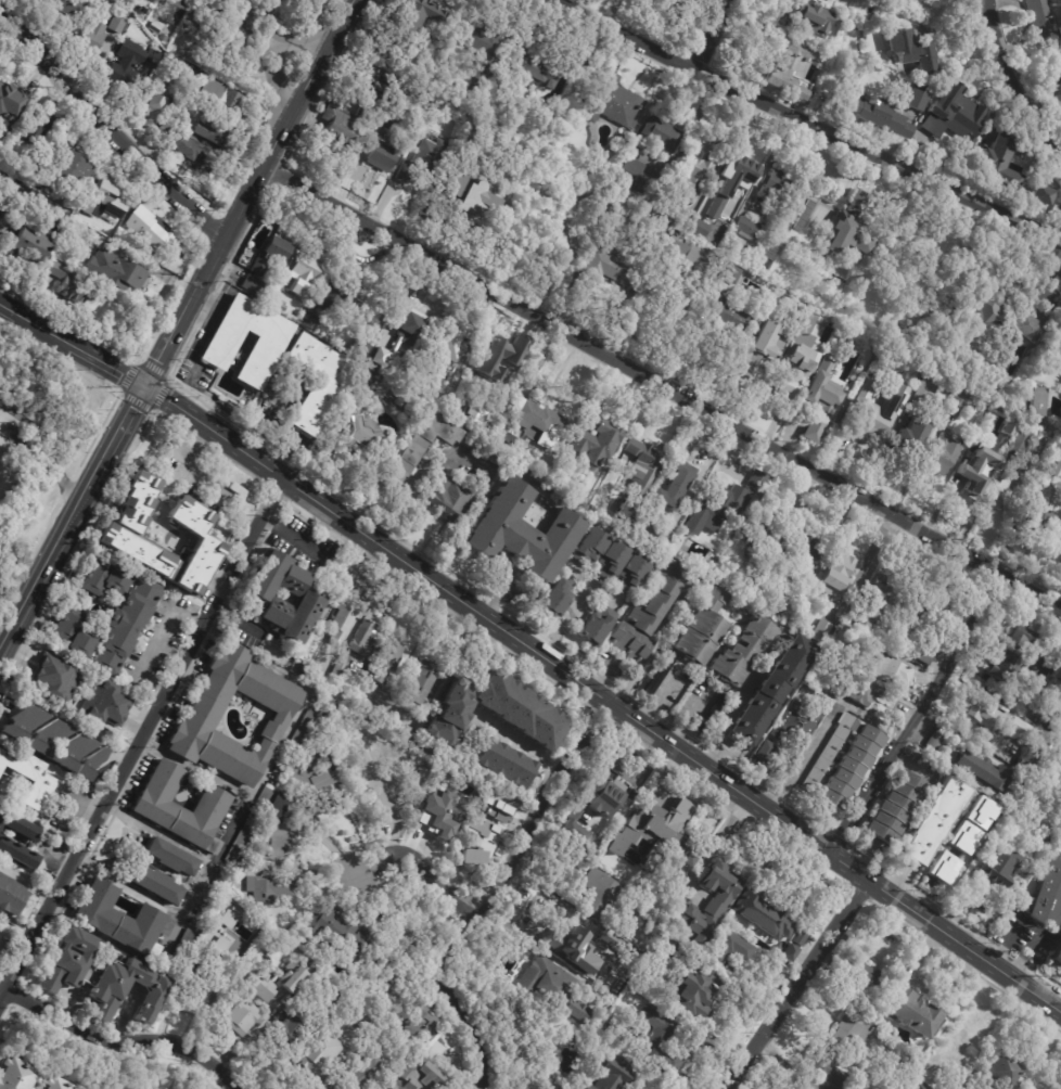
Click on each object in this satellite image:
building: (833, 0)
building: (680, 1)
building: (302, 3)
building: (62, 8)
building: (692, 8)
building: (143, 10)
building: (172, 10)
building: (811, 15)
road: (246, 16)
building: (416, 16)
building: (1040, 18)
building: (115, 24)
building: (154, 27)
road: (711, 34)
building: (214, 35)
building: (91, 38)
building: (483, 38)
building: (911, 51)
building: (194, 57)
building: (790, 63)
building: (129, 65)
building: (529, 68)
building: (180, 72)
building: (1056, 77)
road: (270, 79)
road: (308, 84)
road: (1014, 84)
building: (383, 88)
building: (220, 99)
building: (610, 101)
building: (915, 101)
building: (824, 102)
building: (149, 103)
building: (10, 106)
building: (955, 116)
building: (880, 117)
building: (176, 119)
road: (695, 119)
road: (809, 120)
building: (386, 123)
road: (112, 126)
building: (341, 126)
building: (41, 128)
building: (213, 133)
building: (661, 134)
building: (191, 152)
building: (383, 154)
building: (509, 161)
building: (998, 163)
building: (420, 165)
building: (71, 169)
building: (542, 169)
building: (632, 175)
building: (694, 175)
building: (733, 180)
building: (776, 191)
building: (1041, 195)
building: (107, 198)
building: (435, 198)
building: (592, 198)
building: (859, 205)
building: (664, 209)
building: (52, 210)
building: (482, 214)
building: (1, 215)
building: (798, 216)
building: (699, 228)
building: (151, 229)
building: (745, 229)
building: (846, 239)
building: (35, 244)
building: (560, 244)
building: (771, 251)
building: (689, 252)
building: (270, 254)
building: (595, 269)
building: (56, 270)
building: (116, 270)
building: (303, 273)
building: (728, 273)
road: (204, 277)
building: (668, 282)
building: (255, 285)
building: (68, 287)
building: (336, 294)
building: (1045, 296)
building: (987, 308)
building: (305, 318)
building: (726, 319)
building: (401, 330)
building: (1027, 330)
building: (452, 337)
road: (73, 344)
building: (356, 344)
building: (265, 345)
building: (1056, 347)
building: (762, 353)
building: (801, 357)
building: (490, 358)
building: (960, 375)
building: (318, 381)
building: (362, 383)
traffic signals: (146, 386)
road: (662, 388)
building: (870, 389)
building: (923, 394)
parking lot: (4, 397)
building: (822, 398)
building: (1037, 403)
building: (959, 405)
building: (478, 408)
road: (270, 417)
building: (879, 418)
building: (538, 420)
building: (993, 420)
building: (1006, 428)
building: (363, 430)
building: (912, 437)
building: (595, 439)
building: (1022, 441)
road: (43, 445)
building: (483, 449)
building: (943, 457)
building: (640, 460)
building: (1051, 463)
road: (184, 464)
park: (7, 465)
road: (702, 473)
building: (976, 476)
road: (412, 478)
building: (674, 483)
building: (640, 484)
building: (1007, 494)
building: (447, 497)
building: (719, 500)
building: (626, 508)
building: (1044, 516)
road: (73, 517)
building: (649, 528)
building: (521, 531)
building: (762, 533)
building: (116, 534)
building: (589, 546)
building: (782, 546)
building: (802, 555)
building: (611, 559)
building: (766, 565)
building: (631, 571)
road: (578, 573)
building: (836, 573)
building: (743, 588)
building: (397, 591)
building: (559, 594)
building: (310, 595)
building: (873, 601)
road: (573, 602)
building: (381, 607)
building: (647, 612)
building: (106, 616)
building: (342, 620)
building: (596, 625)
building: (319, 627)
building: (703, 627)
building: (821, 631)
building: (939, 635)
building: (1023, 637)
building: (366, 638)
road: (154, 641)
building: (862, 649)
building: (309, 650)
building: (742, 651)
building: (383, 663)
building: (341, 666)
building: (824, 666)
building: (1004, 667)
road: (609, 669)
building: (892, 670)
building: (469, 671)
building: (1057, 671)
building: (57, 676)
building: (660, 676)
road: (632, 681)
building: (420, 682)
building: (820, 683)
building: (770, 690)
building: (861, 690)
road: (602, 700)
building: (104, 701)
building: (719, 705)
building: (204, 710)
building: (517, 710)
building: (984, 712)
building: (1043, 713)
building: (447, 714)
road: (917, 715)
building: (384, 720)
road: (693, 720)
building: (21, 721)
building: (796, 722)
road: (968, 723)
building: (1017, 723)
building: (44, 735)
building: (935, 739)
building: (294, 741)
road: (142, 742)
road: (525, 744)
building: (69, 750)
building: (765, 751)
building: (1030, 758)
road: (803, 761)
building: (843, 761)
building: (90, 764)
building: (503, 764)
road: (192, 765)
building: (981, 771)
building: (28, 776)
building: (306, 776)
building: (389, 794)
building: (266, 795)
building: (937, 804)
building: (895, 807)
building: (180, 808)
building: (273, 808)
building: (980, 812)
building: (1000, 813)
building: (586, 816)
building: (438, 817)
building: (17, 827)
building: (651, 827)
road: (321, 835)
building: (1047, 840)
building: (966, 842)
building: (483, 845)
road: (716, 845)
building: (682, 853)
building: (16, 855)
building: (170, 858)
building: (624, 858)
building: (1000, 864)
building: (942, 867)
road: (418, 874)
road: (29, 882)
building: (155, 885)
building: (271, 888)
road: (487, 888)
building: (1048, 893)
building: (595, 894)
building: (9, 897)
building: (706, 904)
building: (764, 913)
building: (221, 914)
building: (118, 919)
building: (330, 931)
road: (520, 935)
building: (800, 938)
road: (1005, 940)
building: (589, 941)
building: (571, 947)
building: (181, 948)
building: (726, 949)
building: (216, 951)
building: (663, 951)
building: (788, 952)
road: (1024, 955)
building: (513, 956)
building: (67, 961)
building: (290, 977)
building: (389, 979)
road: (790, 982)
building: (865, 985)
building: (261, 987)
building: (103, 989)
building: (549, 989)
building: (193, 991)
building: (691, 995)
building: (908, 1012)
building: (238, 1020)
building: (367, 1022)
building: (424, 1029)
building: (852, 1030)
building: (287, 1032)
road: (129, 1039)
building: (652, 1041)
building: (319, 1051)
building: (832, 1067)
building: (1001, 1072)
building: (362, 1073)
building: (14, 1075)
building: (611, 1075)
building: (413, 1076)
road: (220, 1080)
building: (54, 1084)
building: (917, 1085)
building: (806, 1087)

